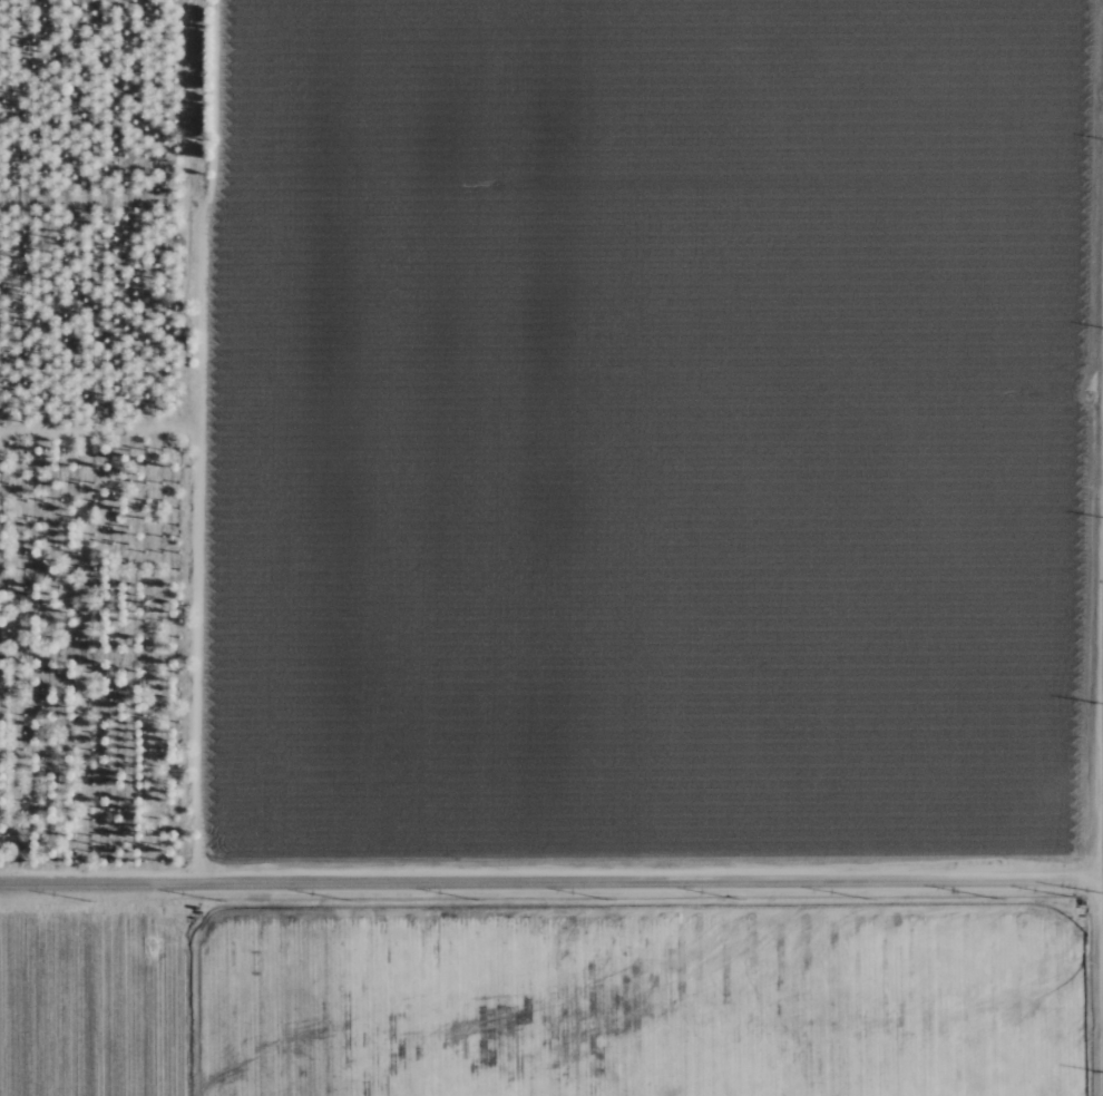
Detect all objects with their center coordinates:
road: (551, 882)
road: (82, 924)
road: (137, 928)
crop: (100, 999)
crop: (646, 999)
road: (139, 1028)

